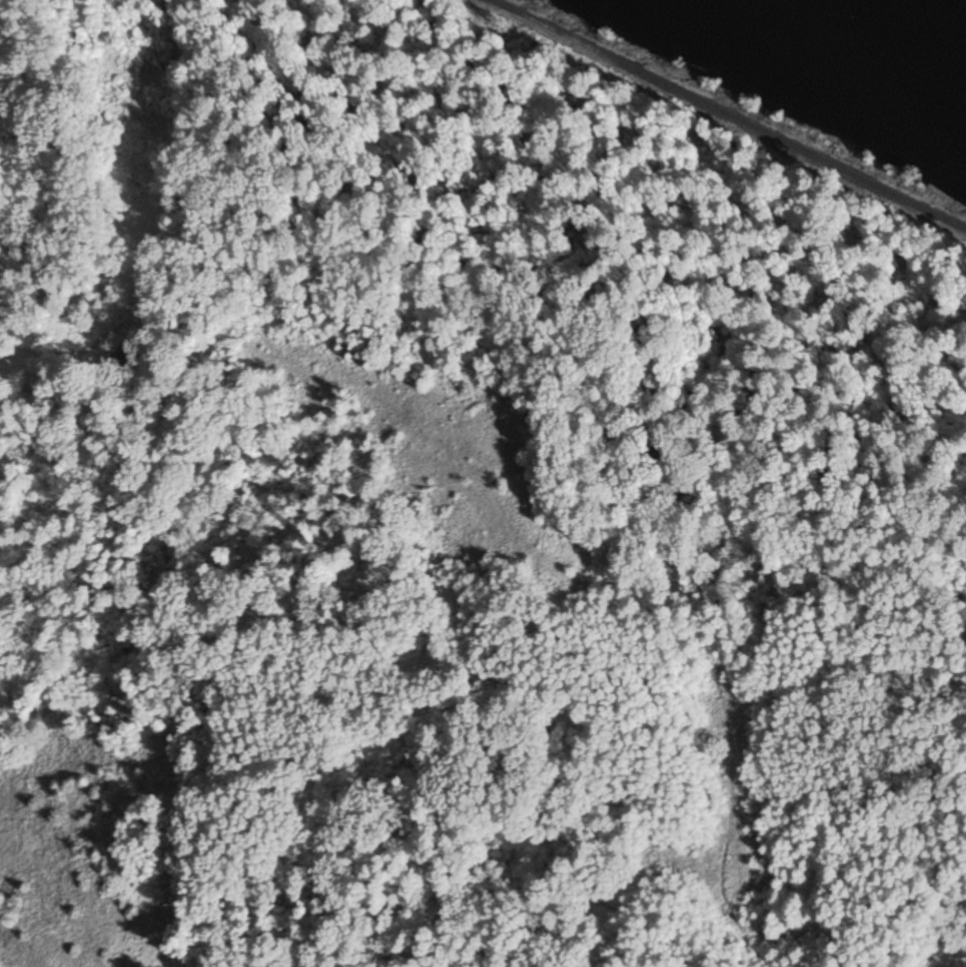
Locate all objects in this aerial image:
railway: (728, 114)

